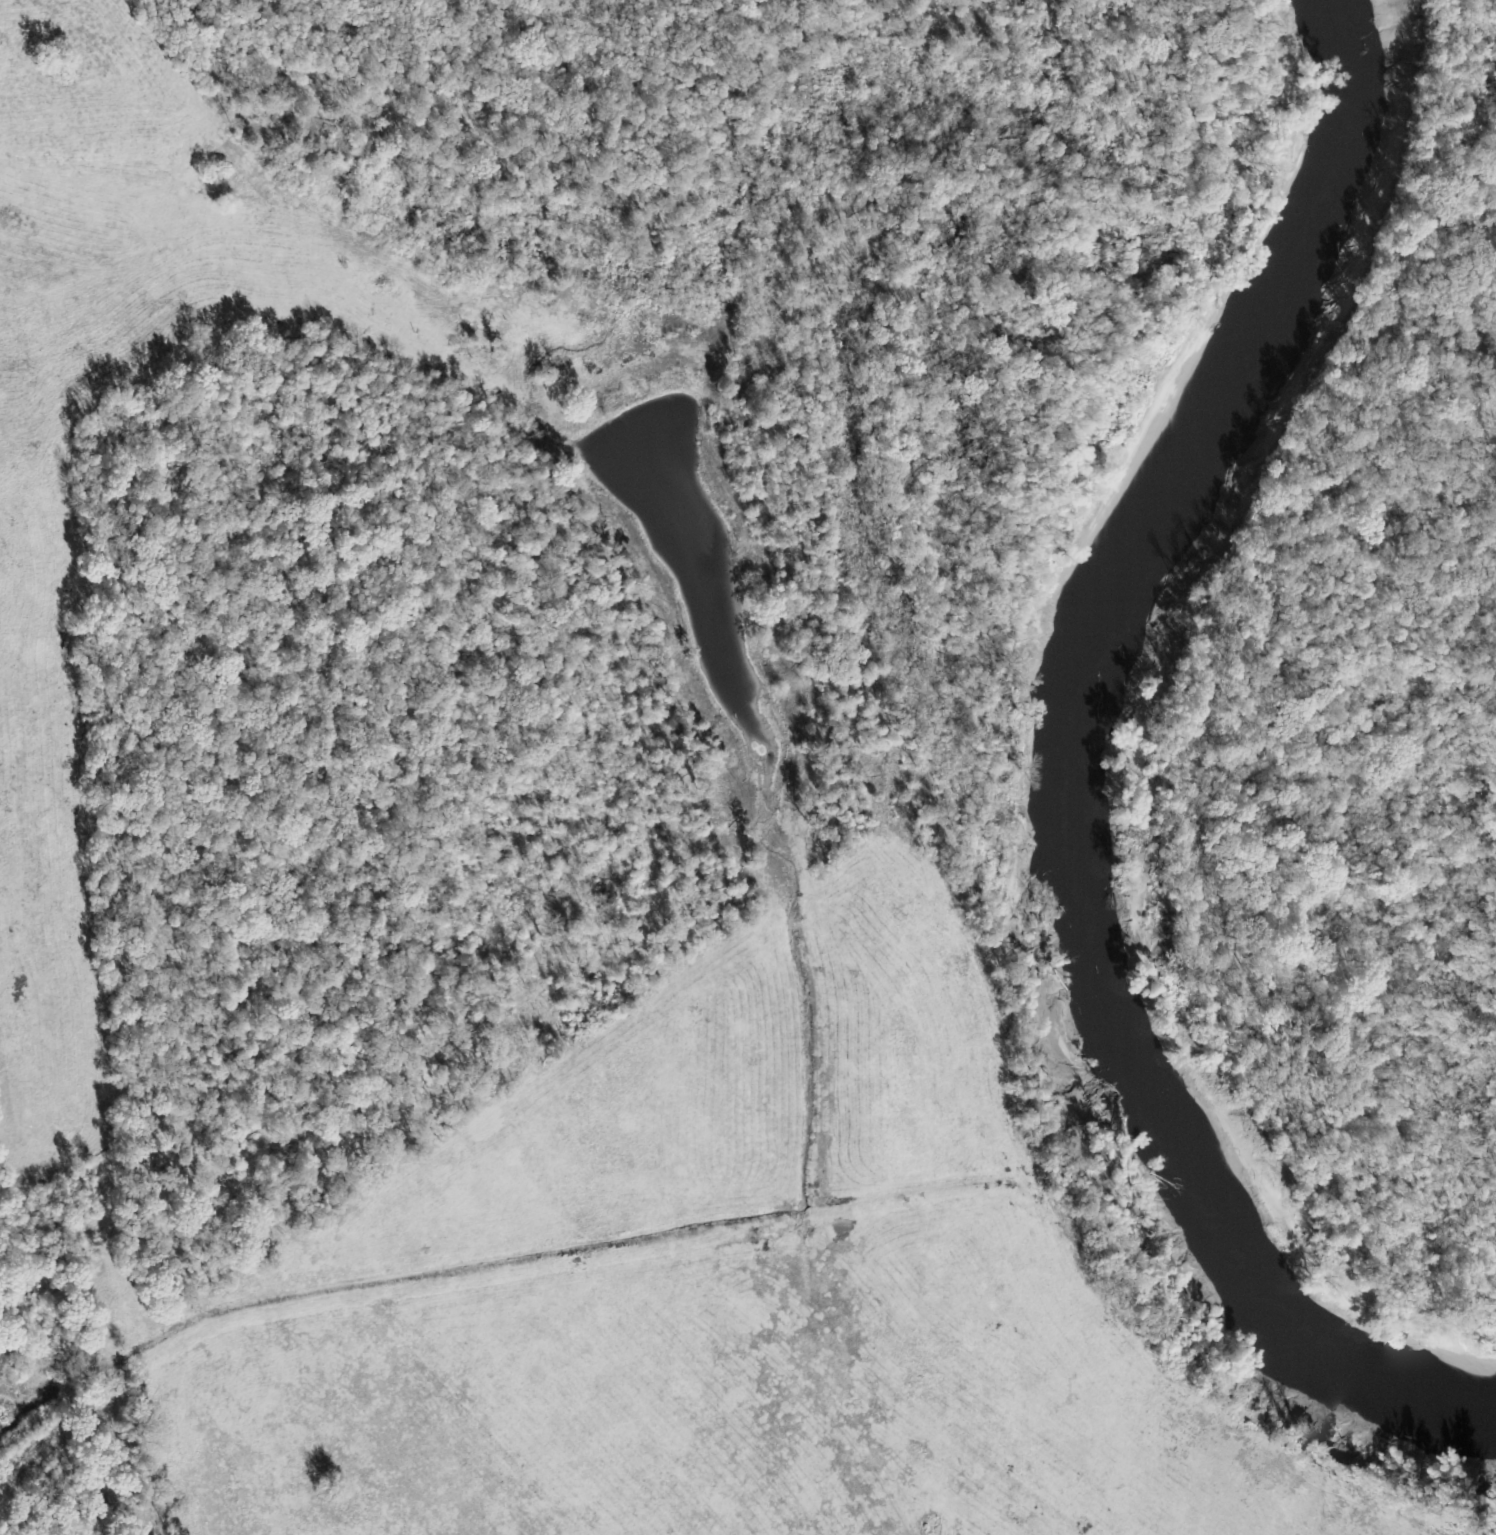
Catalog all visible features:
river: (1094, 774)

